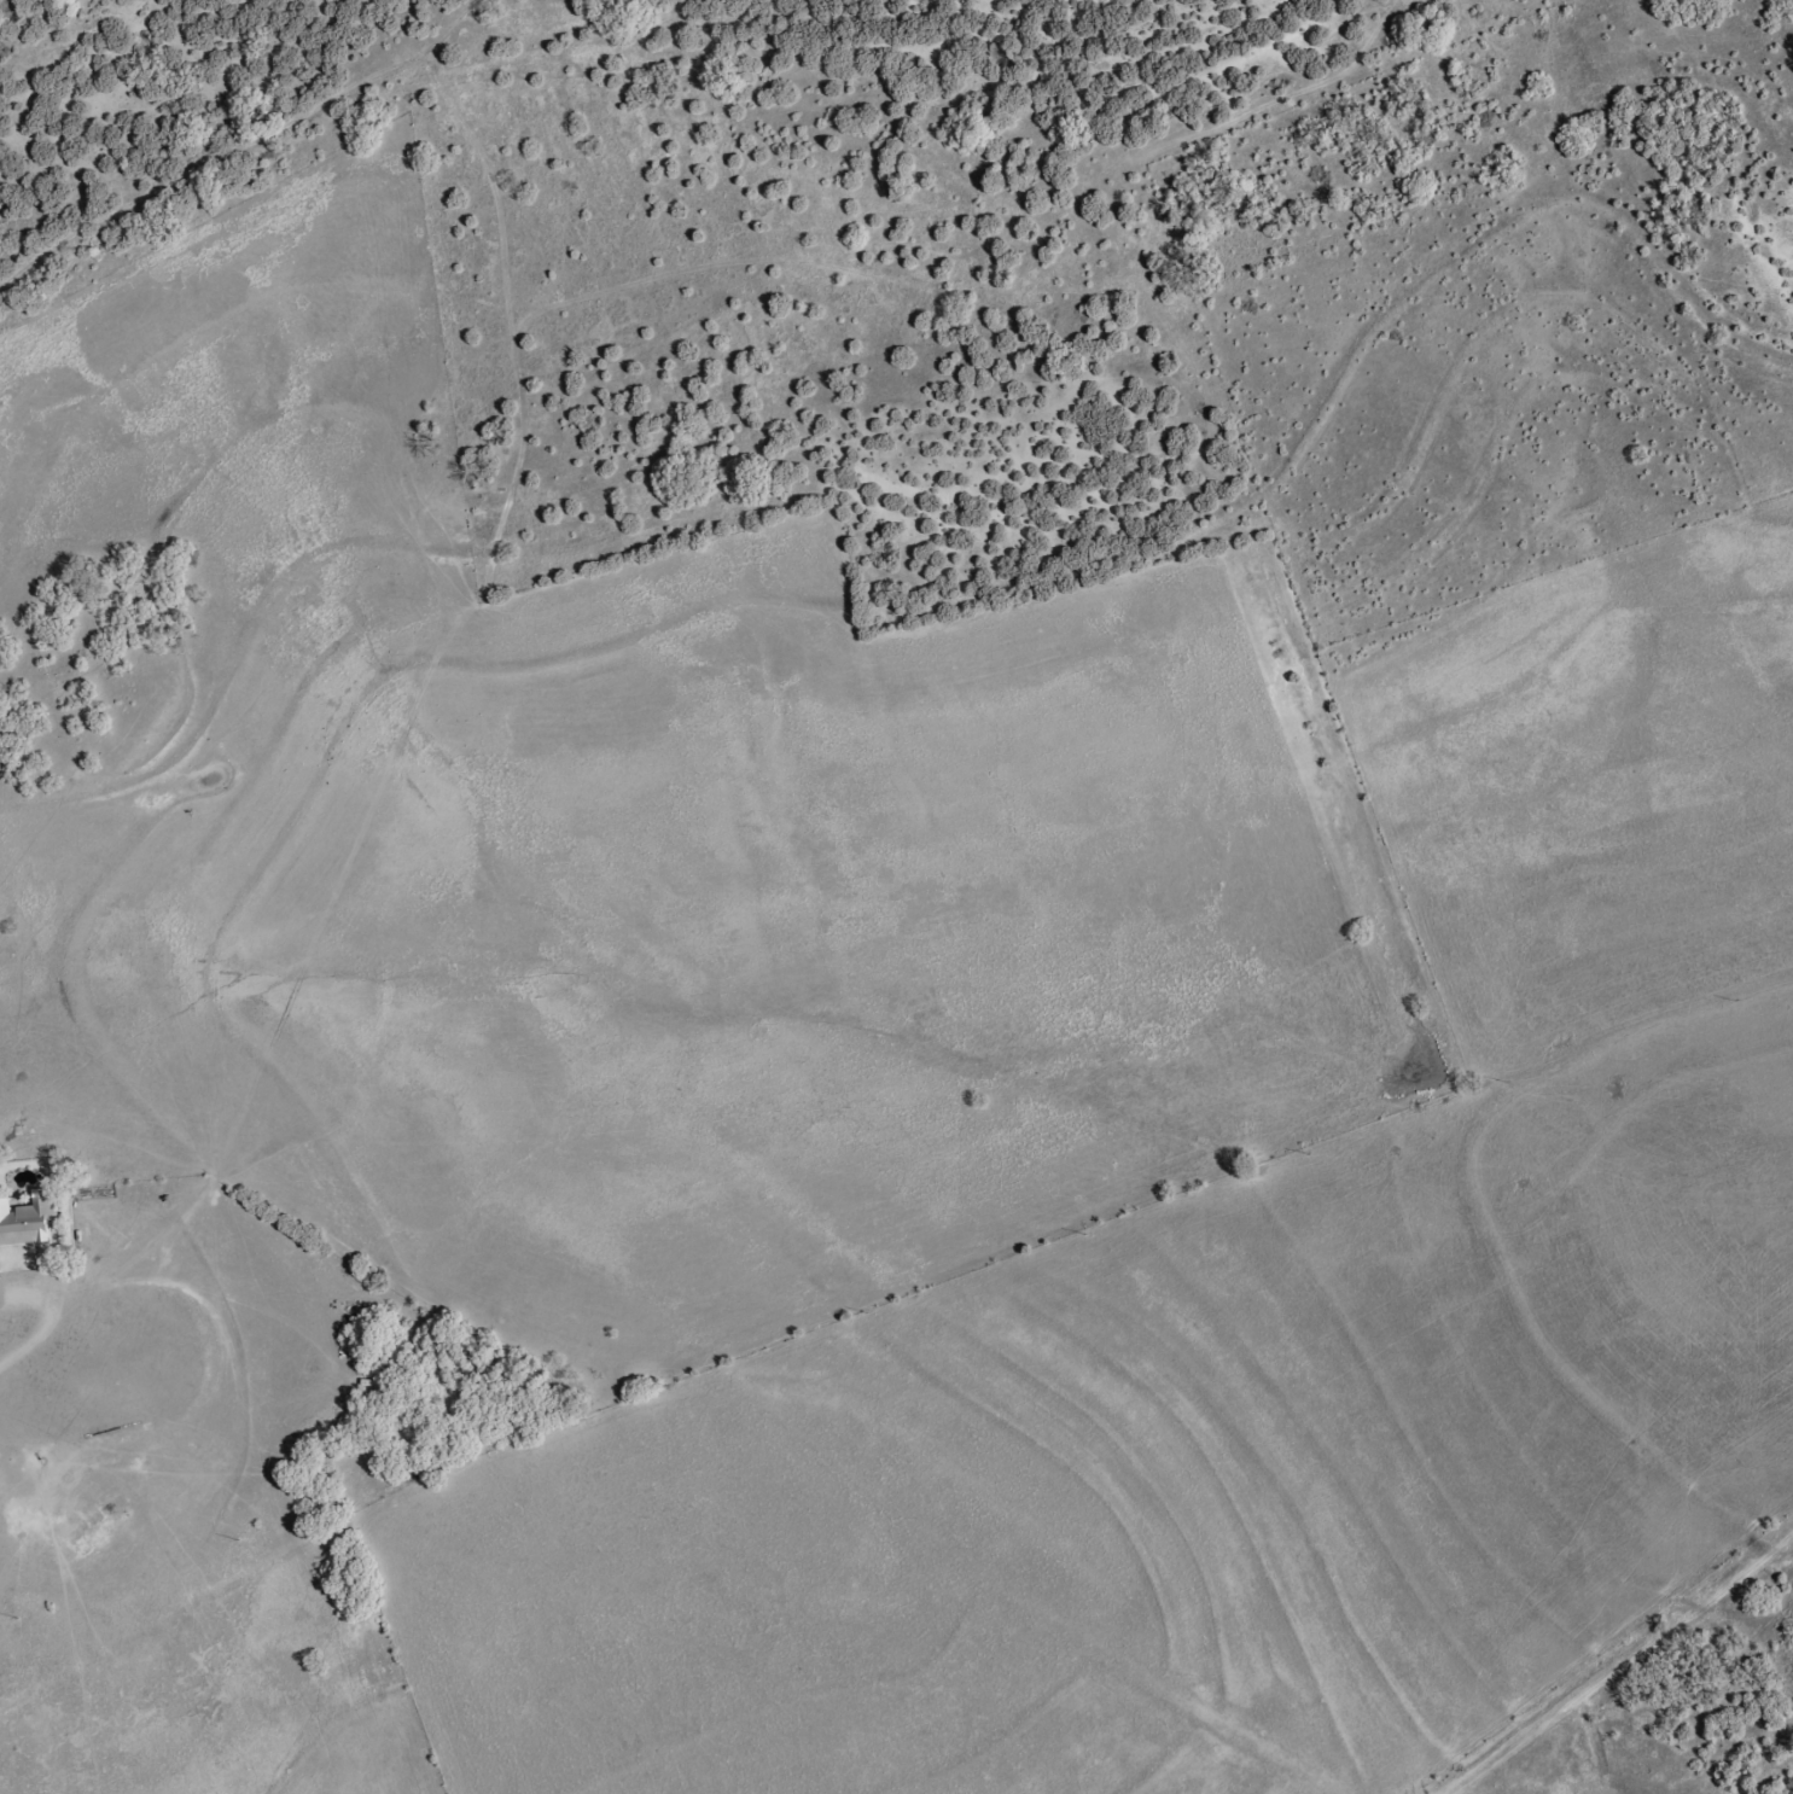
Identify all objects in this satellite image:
building: (25, 1224)
road: (688, 1394)
road: (1637, 1671)

